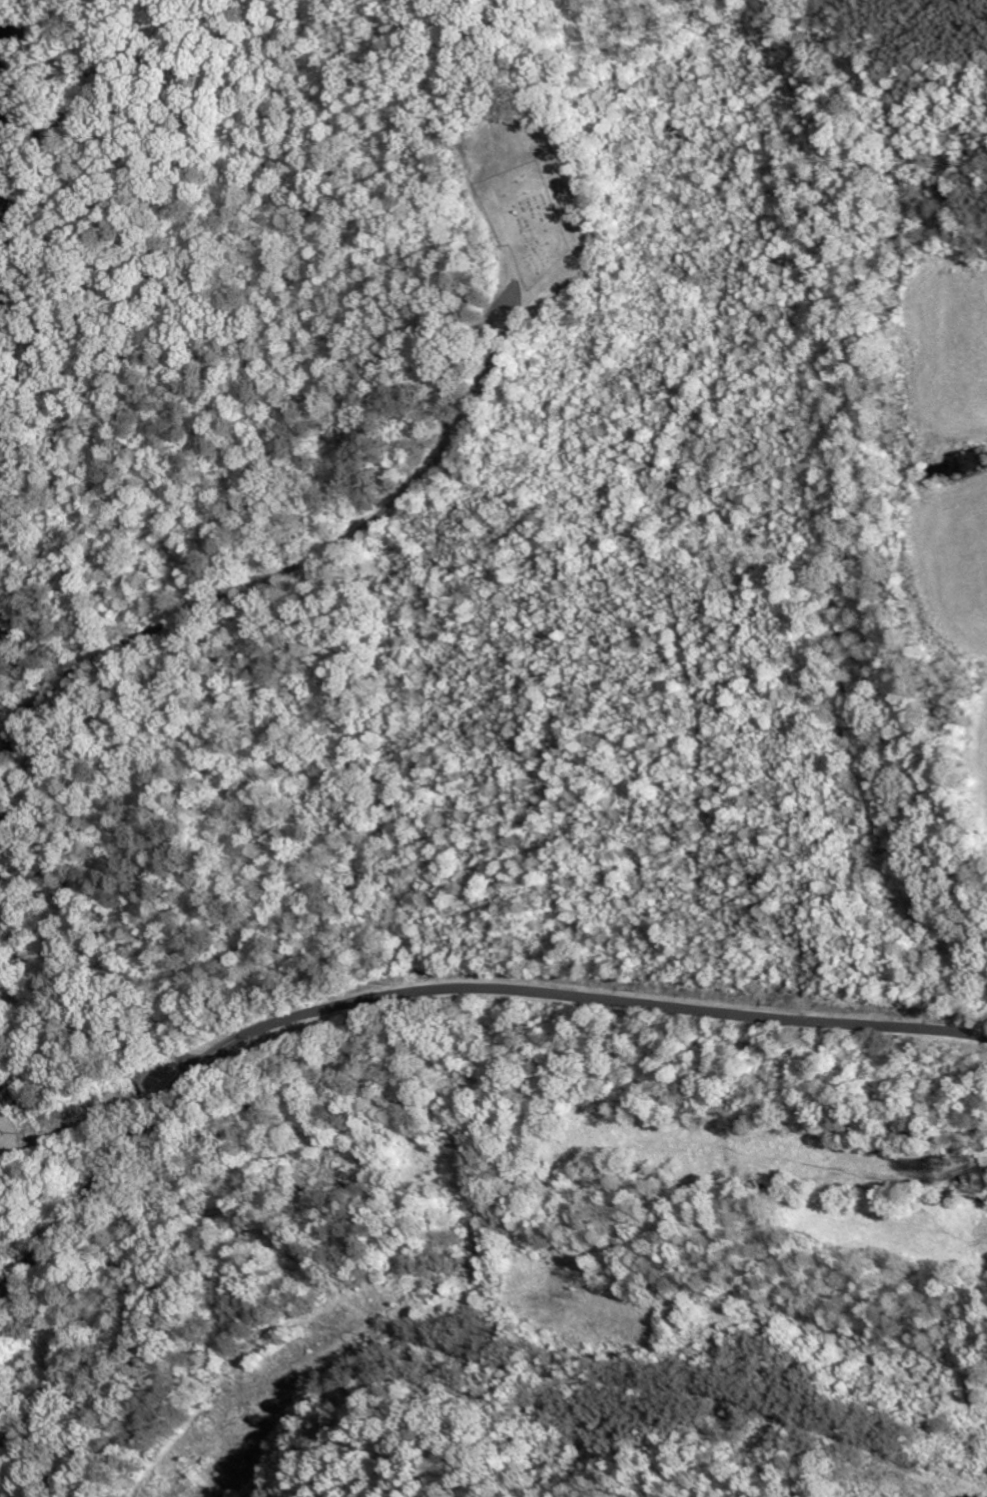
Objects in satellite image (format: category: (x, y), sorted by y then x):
road: (104, 648)
road: (583, 994)
road: (99, 1179)

